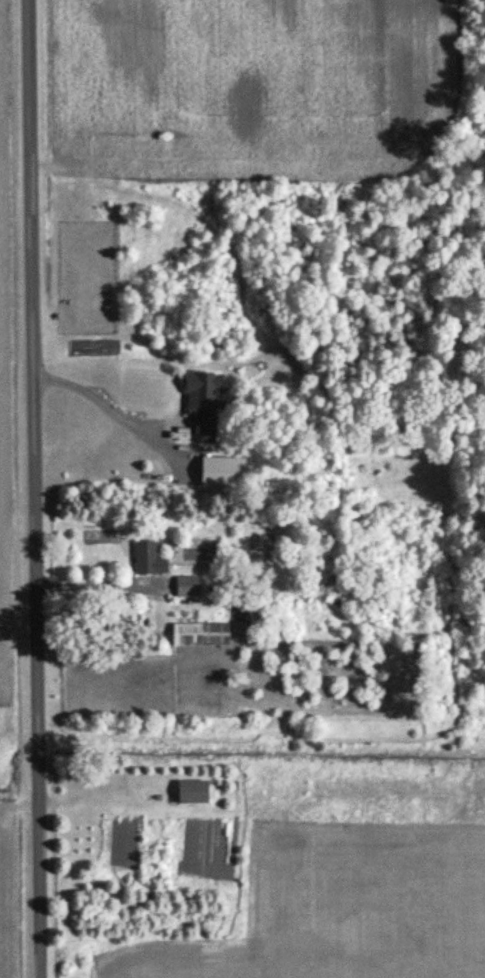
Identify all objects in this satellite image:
road: (95, 399)
building: (201, 404)
road: (30, 488)
building: (144, 559)
road: (95, 584)
building: (186, 587)
building: (198, 635)
building: (191, 792)

